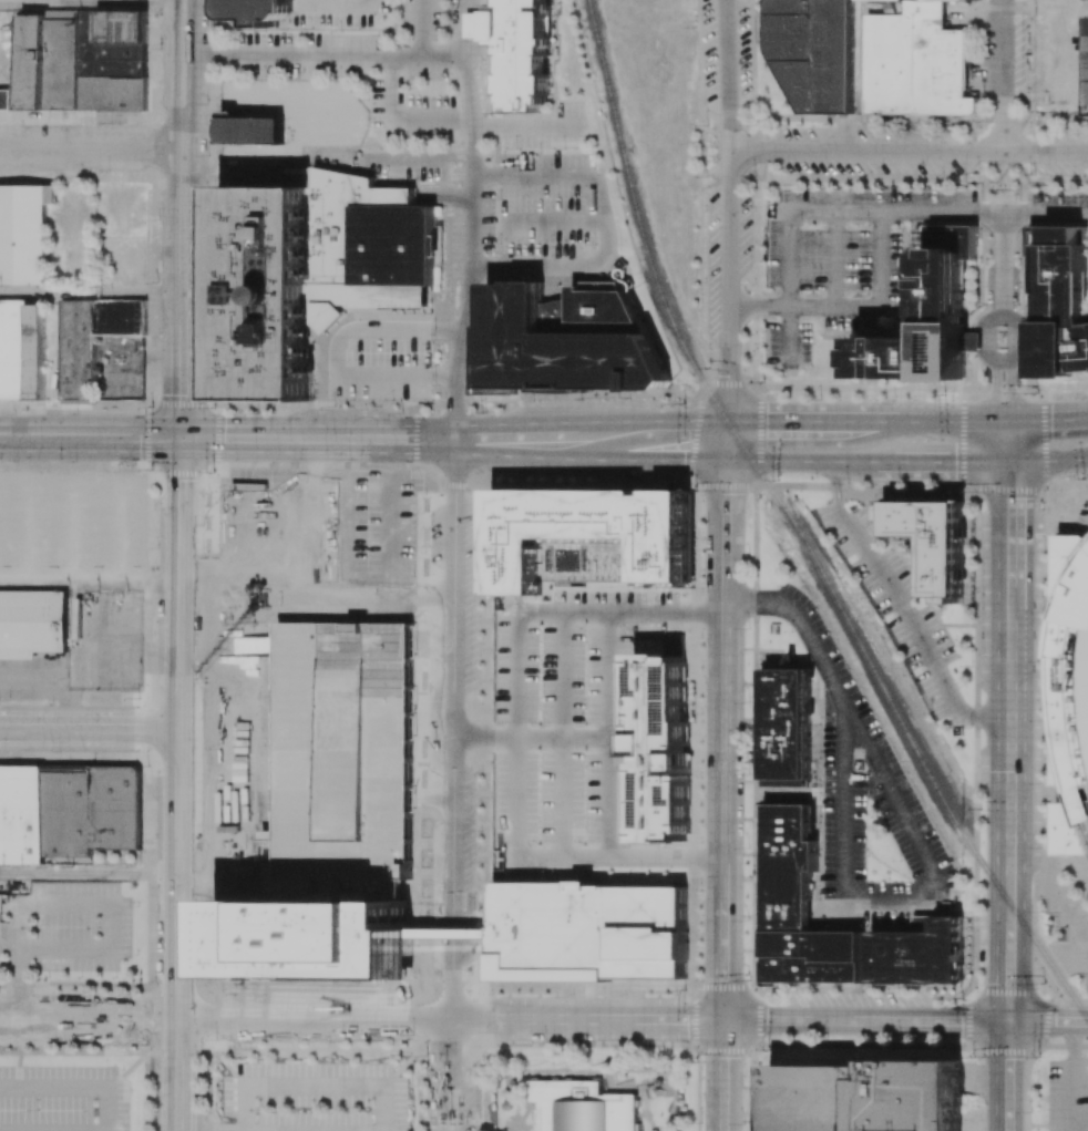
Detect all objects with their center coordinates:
road: (92, 3)
road: (332, 3)
building: (259, 10)
road: (422, 28)
road: (458, 28)
street lamp: (692, 28)
road: (479, 33)
street lamp: (161, 44)
building: (519, 49)
building: (813, 51)
road: (322, 55)
building: (83, 60)
building: (917, 62)
road: (727, 74)
road: (1002, 75)
street lamp: (265, 79)
street lamp: (339, 79)
building: (6, 100)
road: (184, 103)
street lamp: (207, 104)
road: (400, 117)
road: (528, 126)
street lamp: (702, 126)
building: (250, 132)
road: (91, 148)
road: (909, 151)
road: (422, 157)
street lamp: (106, 171)
street lamp: (704, 176)
street lamp: (753, 176)
road: (849, 210)
road: (1046, 212)
street lamp: (158, 218)
road: (555, 219)
road: (605, 225)
building: (24, 234)
road: (472, 248)
street lamp: (208, 258)
road: (834, 258)
road: (1003, 264)
road: (183, 265)
building: (310, 271)
road: (729, 285)
road: (92, 290)
water tower: (283, 294)
road: (877, 300)
building: (1063, 302)
road: (759, 306)
building: (930, 320)
road: (789, 335)
flagpole: (999, 335)
flagpole: (1006, 335)
street lamp: (158, 336)
building: (567, 337)
building: (92, 340)
street lamp: (743, 342)
flagpole: (1003, 343)
road: (341, 348)
street lamp: (707, 348)
building: (22, 350)
parking lot: (381, 360)
road: (1002, 361)
railway: (694, 367)
traffic signals: (728, 374)
road: (183, 380)
street lamp: (762, 381)
traffic signals: (995, 382)
street lamp: (1035, 392)
street lamp: (944, 394)
street lamp: (820, 399)
street lamp: (895, 400)
street lamp: (682, 402)
street lamp: (152, 407)
street lamp: (215, 407)
street lamp: (14, 412)
street lamp: (76, 413)
road: (1003, 415)
road: (1046, 415)
traffic signals: (1051, 415)
road: (659, 420)
traffic signals: (768, 420)
road: (807, 420)
road: (945, 420)
road: (522, 426)
road: (40, 436)
road: (131, 438)
traffic signals: (183, 439)
road: (237, 439)
road: (371, 439)
road: (1005, 439)
road: (727, 440)
road: (511, 453)
road: (648, 459)
road: (1047, 459)
street lamp: (18, 460)
street lamp: (74, 460)
traffic signals: (682, 460)
road: (801, 460)
road: (942, 461)
traffic signals: (955, 461)
street lamp: (324, 462)
street lamp: (150, 470)
street lamp: (213, 472)
street lamp: (1084, 476)
street lamp: (779, 479)
road: (182, 480)
road: (835, 480)
street lamp: (846, 482)
street lamp: (899, 483)
road: (1070, 483)
building: (670, 487)
road: (726, 487)
road: (1007, 487)
building: (647, 490)
street lamp: (695, 491)
street lamp: (962, 492)
traffic signals: (726, 495)
traffic signals: (1008, 498)
street lamp: (424, 500)
building: (690, 533)
road: (1008, 534)
building: (586, 536)
building: (934, 542)
street lamp: (156, 548)
road: (725, 549)
street lamp: (1041, 551)
street lamp: (747, 557)
road: (182, 572)
parking lot: (346, 574)
road: (1008, 577)
road: (91, 583)
building: (637, 583)
building: (675, 584)
street lamp: (700, 587)
street lamp: (423, 597)
road: (516, 602)
parking lot: (896, 602)
street lamp: (969, 603)
road: (723, 605)
road: (904, 607)
road: (619, 610)
street lamp: (1044, 613)
street lamp: (203, 619)
road: (803, 619)
building: (33, 621)
building: (258, 621)
street lamp: (622, 625)
street lamp: (747, 628)
street lamp: (790, 631)
street lamp: (540, 640)
street lamp: (584, 640)
building: (653, 647)
street lamp: (1043, 661)
parking lot: (31, 662)
street lamp: (972, 665)
road: (181, 677)
road: (33, 678)
street lamp: (422, 685)
street lamp: (822, 688)
street lamp: (134, 691)
street lamp: (208, 691)
road: (1009, 692)
parking lot: (28, 693)
building: (1072, 693)
stadium: (1072, 693)
street lamp: (362, 700)
street lamp: (9, 701)
street lamp: (748, 701)
street lamp: (52, 703)
road: (63, 708)
street lamp: (538, 708)
street lamp: (584, 708)
road: (987, 718)
street lamp: (1044, 720)
street lamp: (818, 722)
building: (787, 728)
road: (23, 729)
road: (113, 729)
traffic signals: (181, 730)
street lamp: (969, 730)
road: (515, 733)
road: (561, 733)
road: (608, 733)
road: (530, 736)
road: (722, 742)
building: (660, 748)
street lamp: (57, 752)
street lamp: (819, 757)
building: (624, 758)
street lamp: (148, 764)
street lamp: (538, 765)
street lamp: (584, 765)
street lamp: (868, 771)
traffic signals: (1009, 772)
street lamp: (747, 773)
street lamp: (1044, 783)
road: (452, 785)
road: (179, 786)
street lamp: (819, 792)
street lamp: (868, 792)
road: (843, 798)
street lamp: (979, 809)
building: (92, 810)
building: (21, 815)
street lamp: (818, 821)
road: (1008, 822)
street lamp: (537, 826)
street lamp: (584, 827)
street lamp: (153, 835)
road: (915, 836)
street lamp: (1043, 846)
street lamp: (746, 847)
road: (618, 857)
street lamp: (866, 857)
street lamp: (899, 860)
railway: (981, 862)
building: (788, 866)
road: (399, 868)
street lamp: (639, 870)
road: (90, 873)
street lamp: (886, 878)
road: (1008, 883)
street lamp: (817, 898)
street lamp: (983, 902)
street lamp: (1040, 911)
street lamp: (747, 921)
building: (923, 923)
street lamp: (31, 925)
parking lot: (79, 926)
street lamp: (99, 926)
road: (111, 926)
road: (178, 929)
building: (589, 929)
road: (1007, 933)
road: (722, 938)
building: (917, 954)
building: (813, 956)
road: (21, 959)
building: (501, 965)
street lamp: (748, 979)
street lamp: (154, 980)
street lamp: (1043, 983)
street lamp: (811, 988)
street lamp: (132, 991)
street lamp: (685, 991)
road: (1006, 991)
street lamp: (280, 993)
street lamp: (904, 993)
street lamp: (961, 998)
road: (89, 1016)
road: (314, 1017)
road: (501, 1019)
road: (579, 1019)
road: (625, 1019)
road: (684, 1020)
traffic signals: (723, 1020)
road: (767, 1020)
road: (852, 1020)
road: (950, 1020)
traffic signals: (1006, 1021)
road: (1047, 1021)
street lamp: (410, 1035)
street lamp: (216, 1036)
street lamp: (825, 1038)
street lamp: (899, 1039)
street lamp: (543, 1041)
street lamp: (342, 1043)
street lamp: (768, 1051)
street lamp: (425, 1056)
street lamp: (971, 1057)
street lamp: (1037, 1058)
street lamp: (692, 1060)
road: (178, 1073)
road: (723, 1076)
road: (1004, 1076)
road: (76, 1086)
road: (336, 1087)
parking lot: (316, 1096)
building: (868, 1096)
parking lot: (63, 1098)
parking lot: (451, 1098)
building: (583, 1107)
road: (246, 1109)
street lamp: (1030, 1111)
street lamp: (742, 1121)
street lamp: (699, 1122)
road: (212, 1127)

